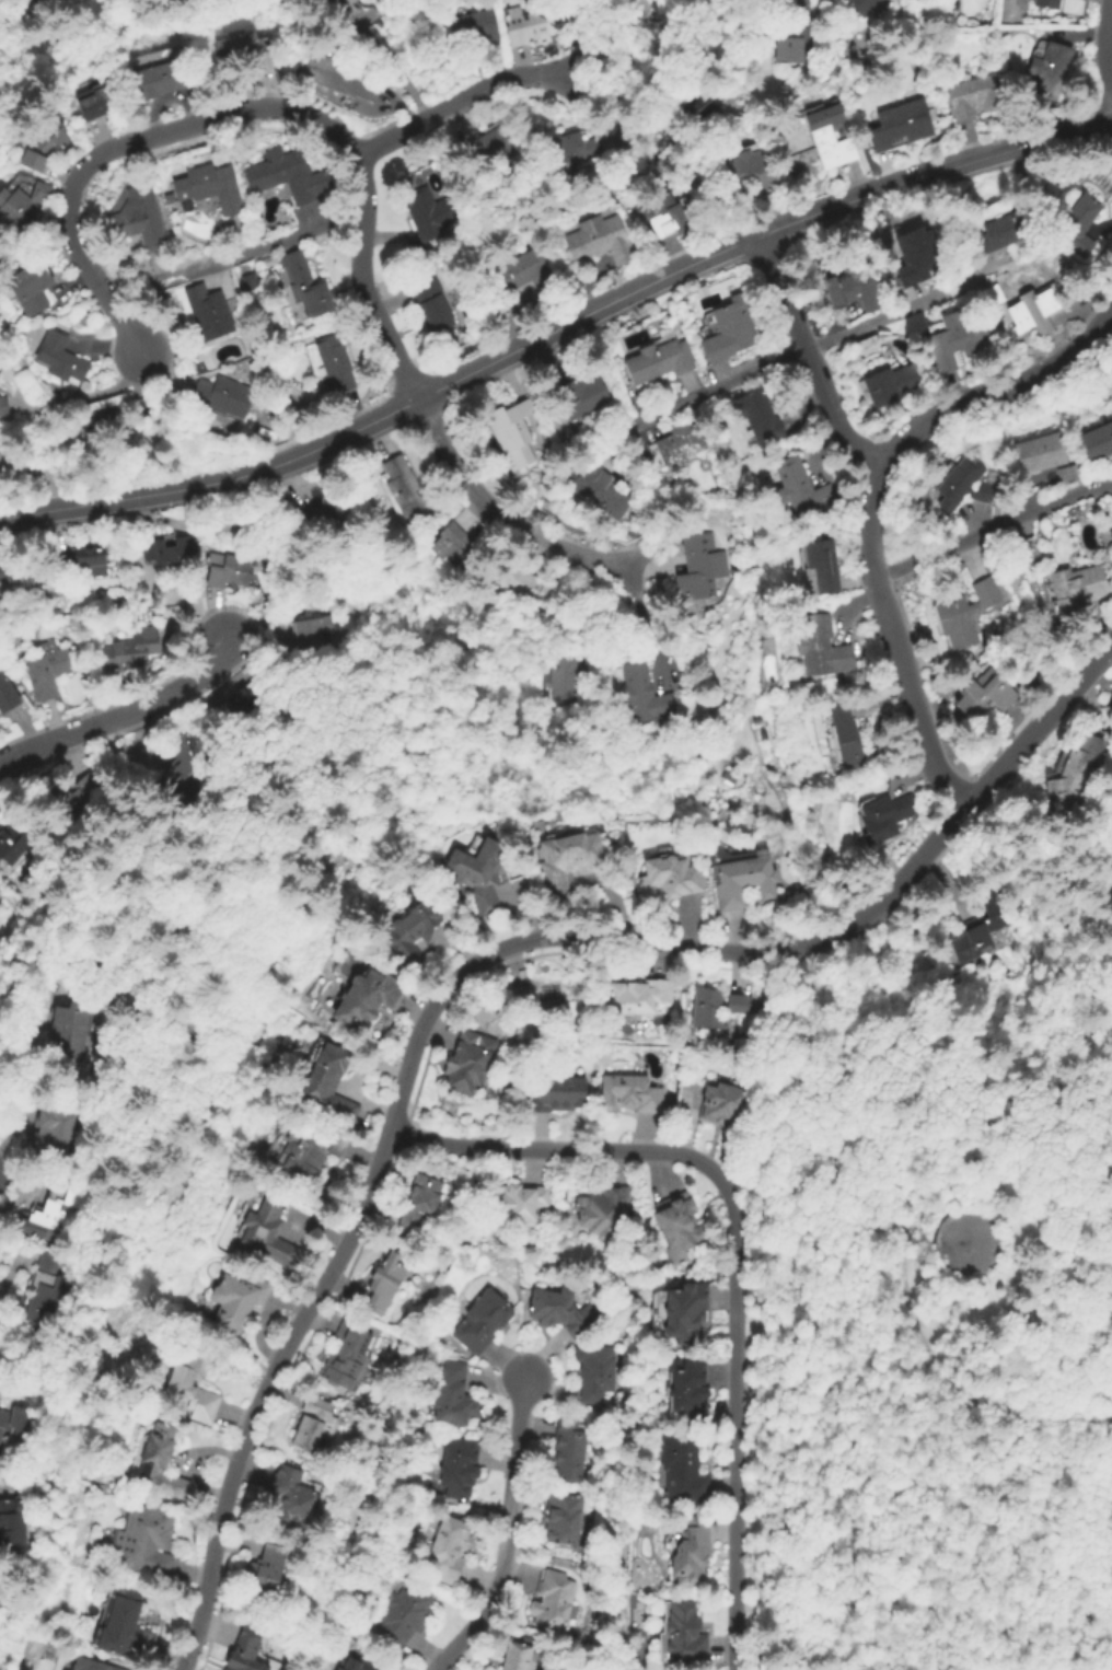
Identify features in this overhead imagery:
building: (1046, 3)
building: (861, 5)
building: (340, 9)
building: (476, 28)
building: (525, 28)
building: (796, 35)
road: (1105, 42)
building: (242, 48)
road: (392, 68)
building: (1049, 69)
building: (337, 78)
building: (160, 80)
road: (468, 96)
building: (975, 97)
building: (96, 104)
building: (694, 113)
building: (902, 128)
building: (831, 138)
road: (120, 144)
building: (40, 146)
building: (487, 148)
building: (571, 153)
building: (753, 172)
building: (287, 177)
building: (208, 188)
building: (39, 193)
building: (14, 209)
building: (431, 213)
building: (138, 219)
building: (1076, 225)
building: (1005, 232)
building: (601, 241)
road: (273, 242)
building: (918, 257)
building: (526, 274)
road: (362, 280)
building: (304, 285)
building: (28, 288)
building: (854, 292)
building: (994, 297)
building: (431, 305)
building: (1035, 310)
building: (207, 313)
road: (556, 326)
building: (729, 330)
building: (953, 341)
road: (795, 351)
road: (807, 353)
building: (58, 357)
building: (659, 361)
building: (335, 362)
building: (201, 368)
building: (0, 369)
building: (892, 384)
building: (225, 395)
road: (97, 396)
building: (582, 397)
building: (3, 405)
building: (143, 408)
building: (761, 418)
building: (100, 424)
building: (512, 433)
building: (681, 442)
building: (1097, 442)
building: (1040, 454)
building: (10, 464)
building: (1068, 474)
building: (963, 486)
building: (598, 488)
building: (800, 489)
building: (407, 491)
road: (862, 501)
road: (498, 514)
building: (325, 515)
road: (993, 531)
building: (1110, 536)
building: (453, 545)
building: (167, 548)
building: (84, 560)
building: (702, 566)
building: (822, 566)
building: (222, 571)
building: (18, 576)
building: (532, 589)
building: (1077, 590)
building: (964, 614)
building: (587, 629)
building: (308, 638)
building: (821, 647)
building: (130, 650)
building: (47, 670)
building: (566, 680)
building: (8, 695)
building: (984, 695)
building: (645, 697)
building: (247, 705)
road: (127, 712)
building: (846, 738)
building: (184, 766)
building: (1076, 773)
building: (70, 802)
building: (887, 816)
road: (954, 816)
building: (13, 843)
building: (567, 861)
building: (479, 873)
building: (670, 878)
building: (743, 882)
building: (982, 927)
building: (412, 932)
building: (541, 997)
building: (639, 997)
building: (367, 999)
building: (718, 1007)
building: (71, 1030)
road: (18, 1043)
building: (465, 1064)
building: (328, 1086)
building: (629, 1094)
building: (556, 1095)
building: (723, 1105)
building: (54, 1133)
building: (309, 1151)
road: (379, 1167)
building: (518, 1203)
building: (419, 1204)
building: (53, 1209)
building: (603, 1211)
building: (681, 1229)
building: (268, 1234)
road: (734, 1251)
road: (902, 1268)
building: (384, 1284)
building: (50, 1294)
building: (238, 1301)
building: (561, 1311)
building: (685, 1311)
park: (937, 1321)
building: (483, 1322)
building: (345, 1355)
building: (595, 1372)
building: (194, 1382)
building: (687, 1393)
building: (454, 1396)
building: (312, 1423)
building: (16, 1424)
building: (569, 1451)
building: (162, 1464)
building: (460, 1466)
building: (683, 1470)
road: (836, 1474)
building: (289, 1497)
building: (564, 1518)
building: (13, 1526)
road: (506, 1535)
building: (147, 1542)
building: (450, 1549)
building: (692, 1553)
building: (267, 1567)
road: (790, 1581)
building: (553, 1601)
building: (404, 1615)
building: (126, 1625)
building: (685, 1634)
building: (246, 1650)
building: (517, 1657)
building: (357, 1665)
building: (90, 1666)

